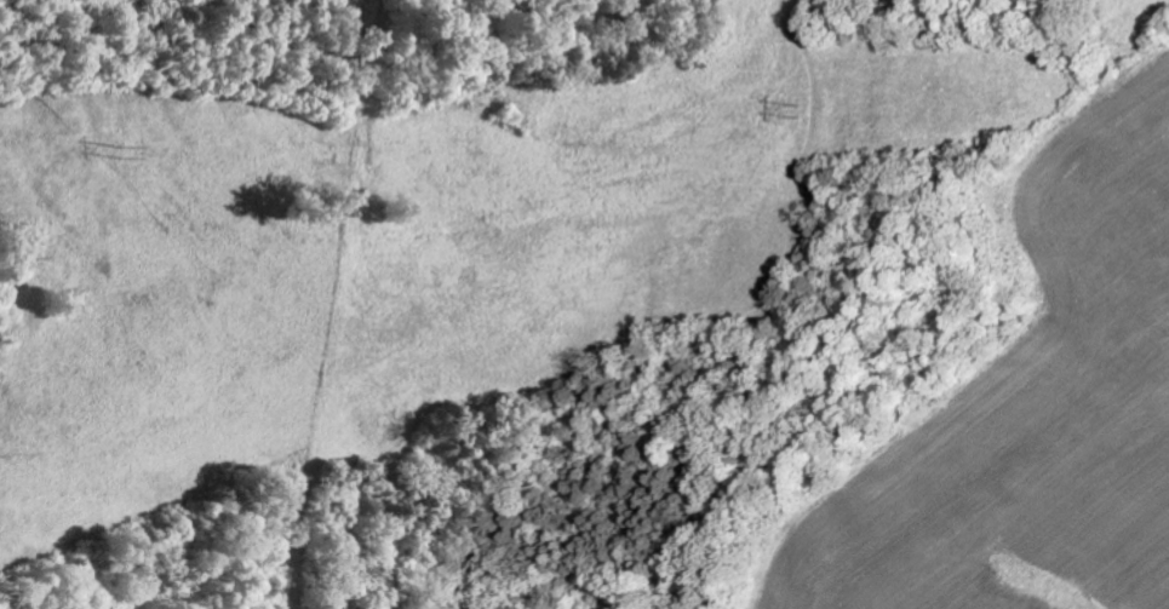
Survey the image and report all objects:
power tower: (802, 114)
power tower: (131, 157)

